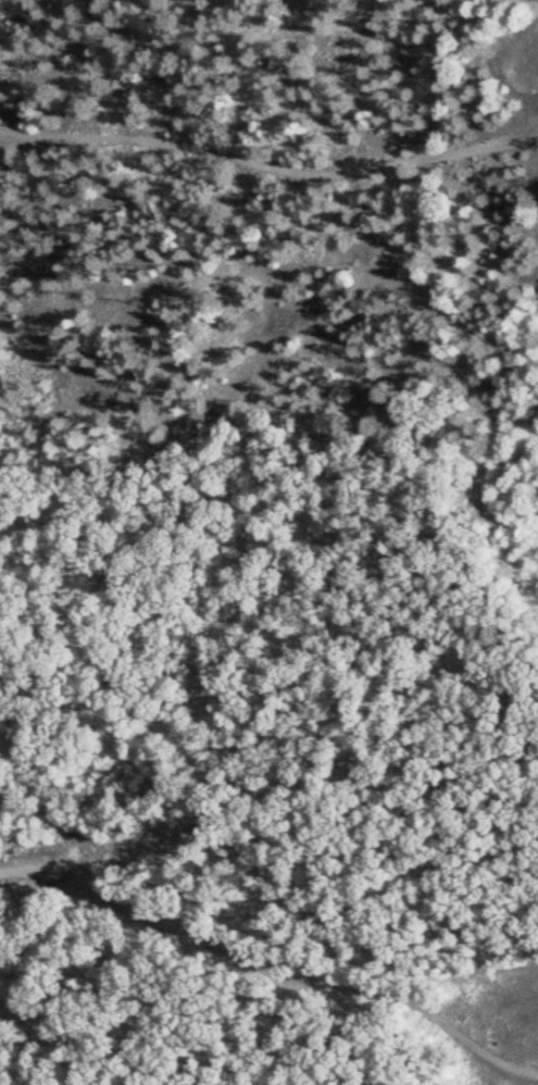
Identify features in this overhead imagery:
road: (268, 162)
road: (263, 968)

